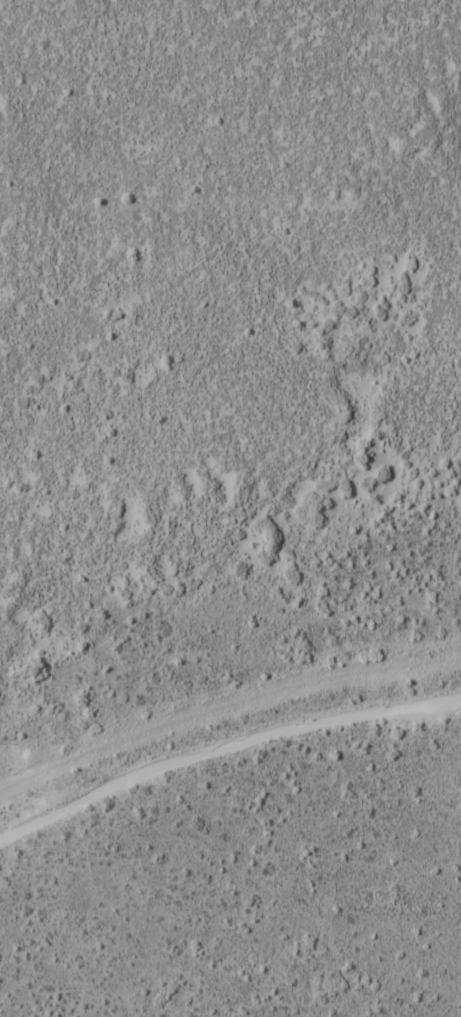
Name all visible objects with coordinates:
road: (230, 722)

